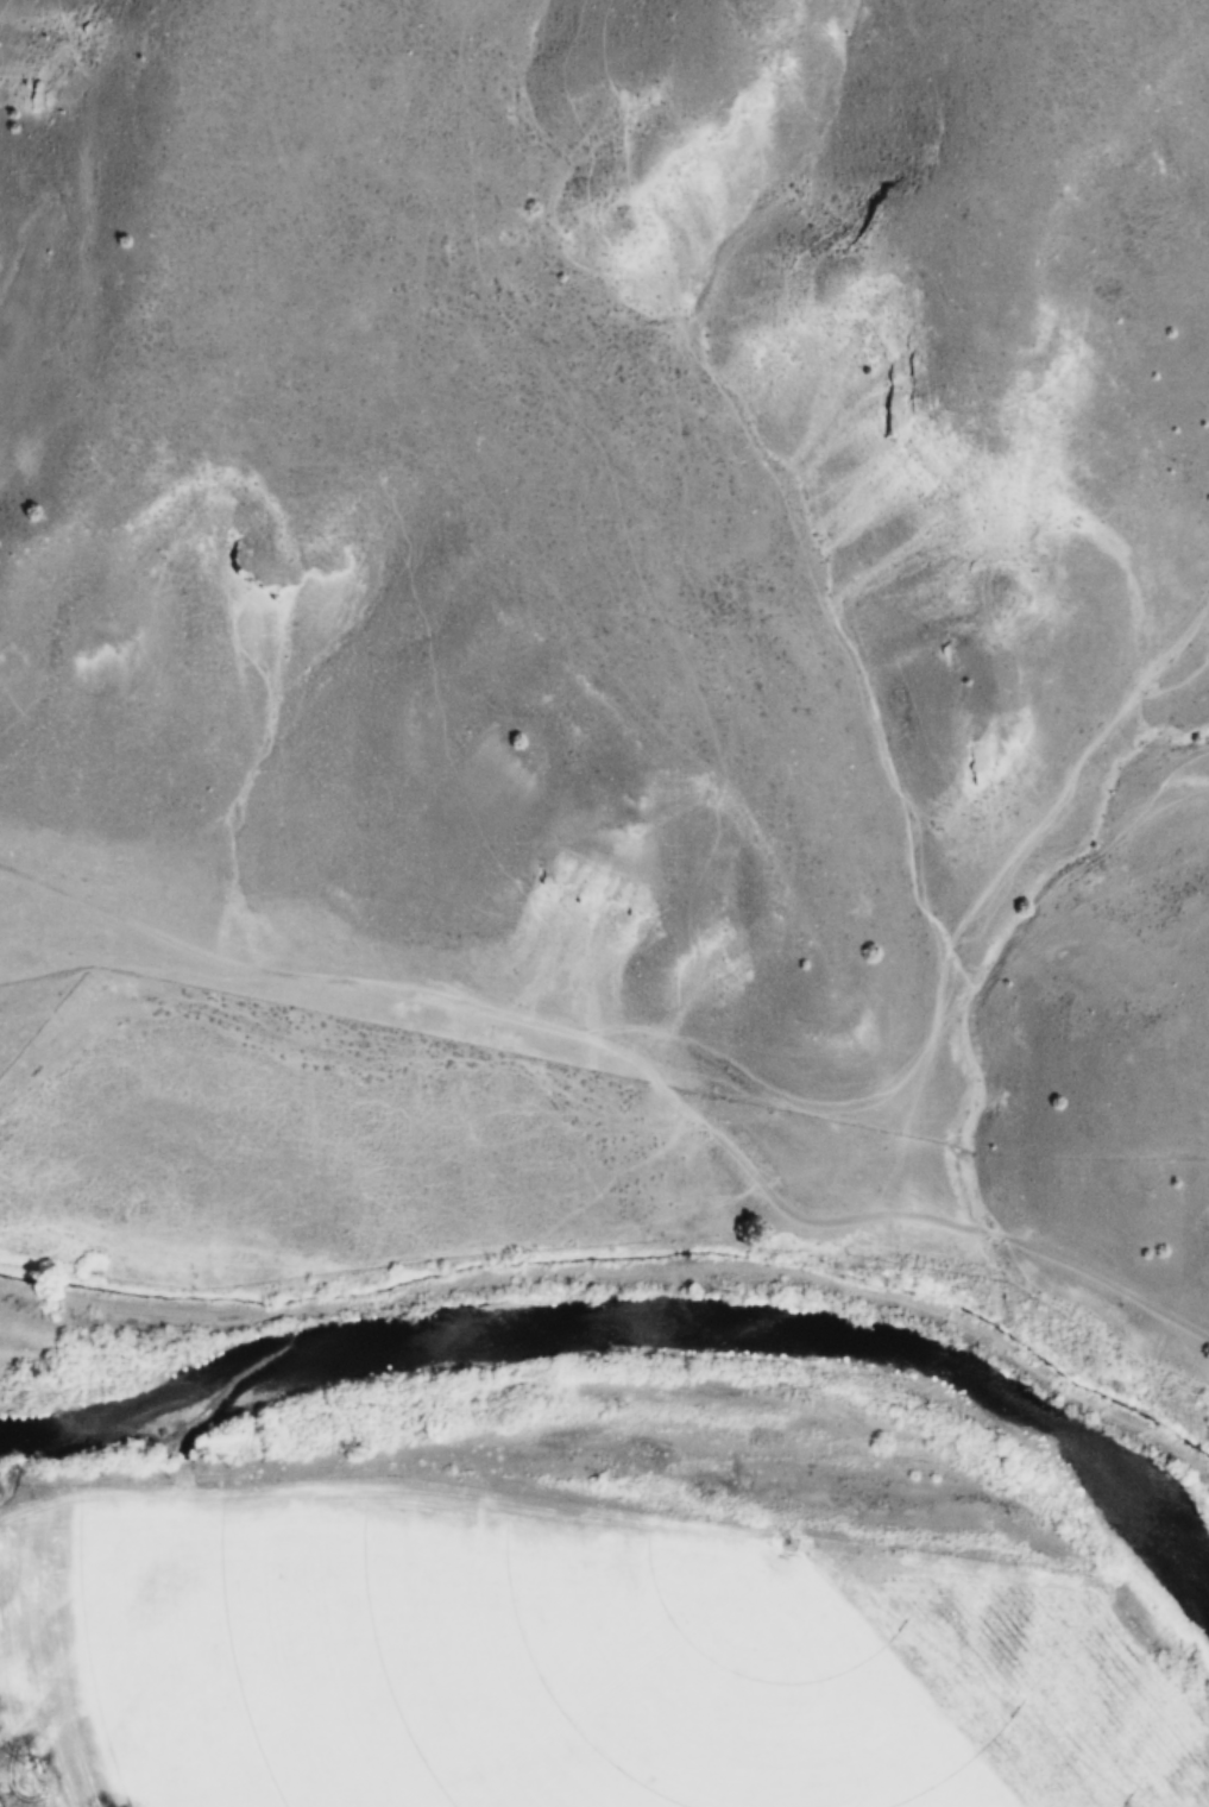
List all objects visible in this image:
river: (648, 1333)

